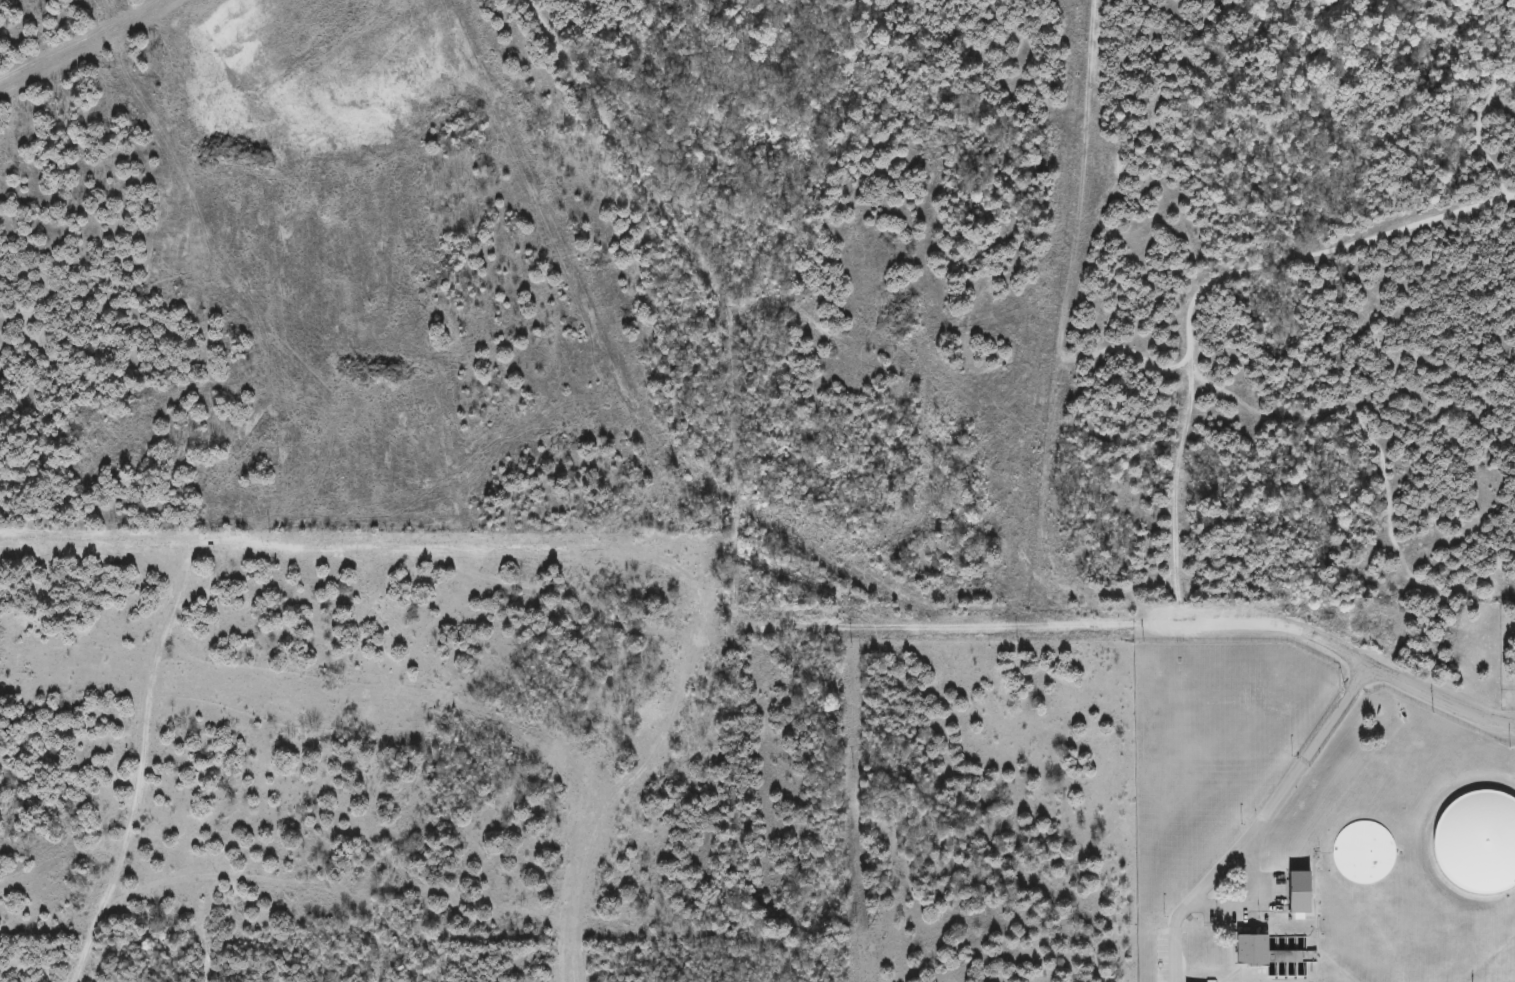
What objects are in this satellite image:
road: (735, 484)
road: (935, 625)
road: (1331, 644)
road: (619, 791)
road: (1258, 821)
building: (1484, 841)
building: (1299, 892)
building: (1251, 951)

